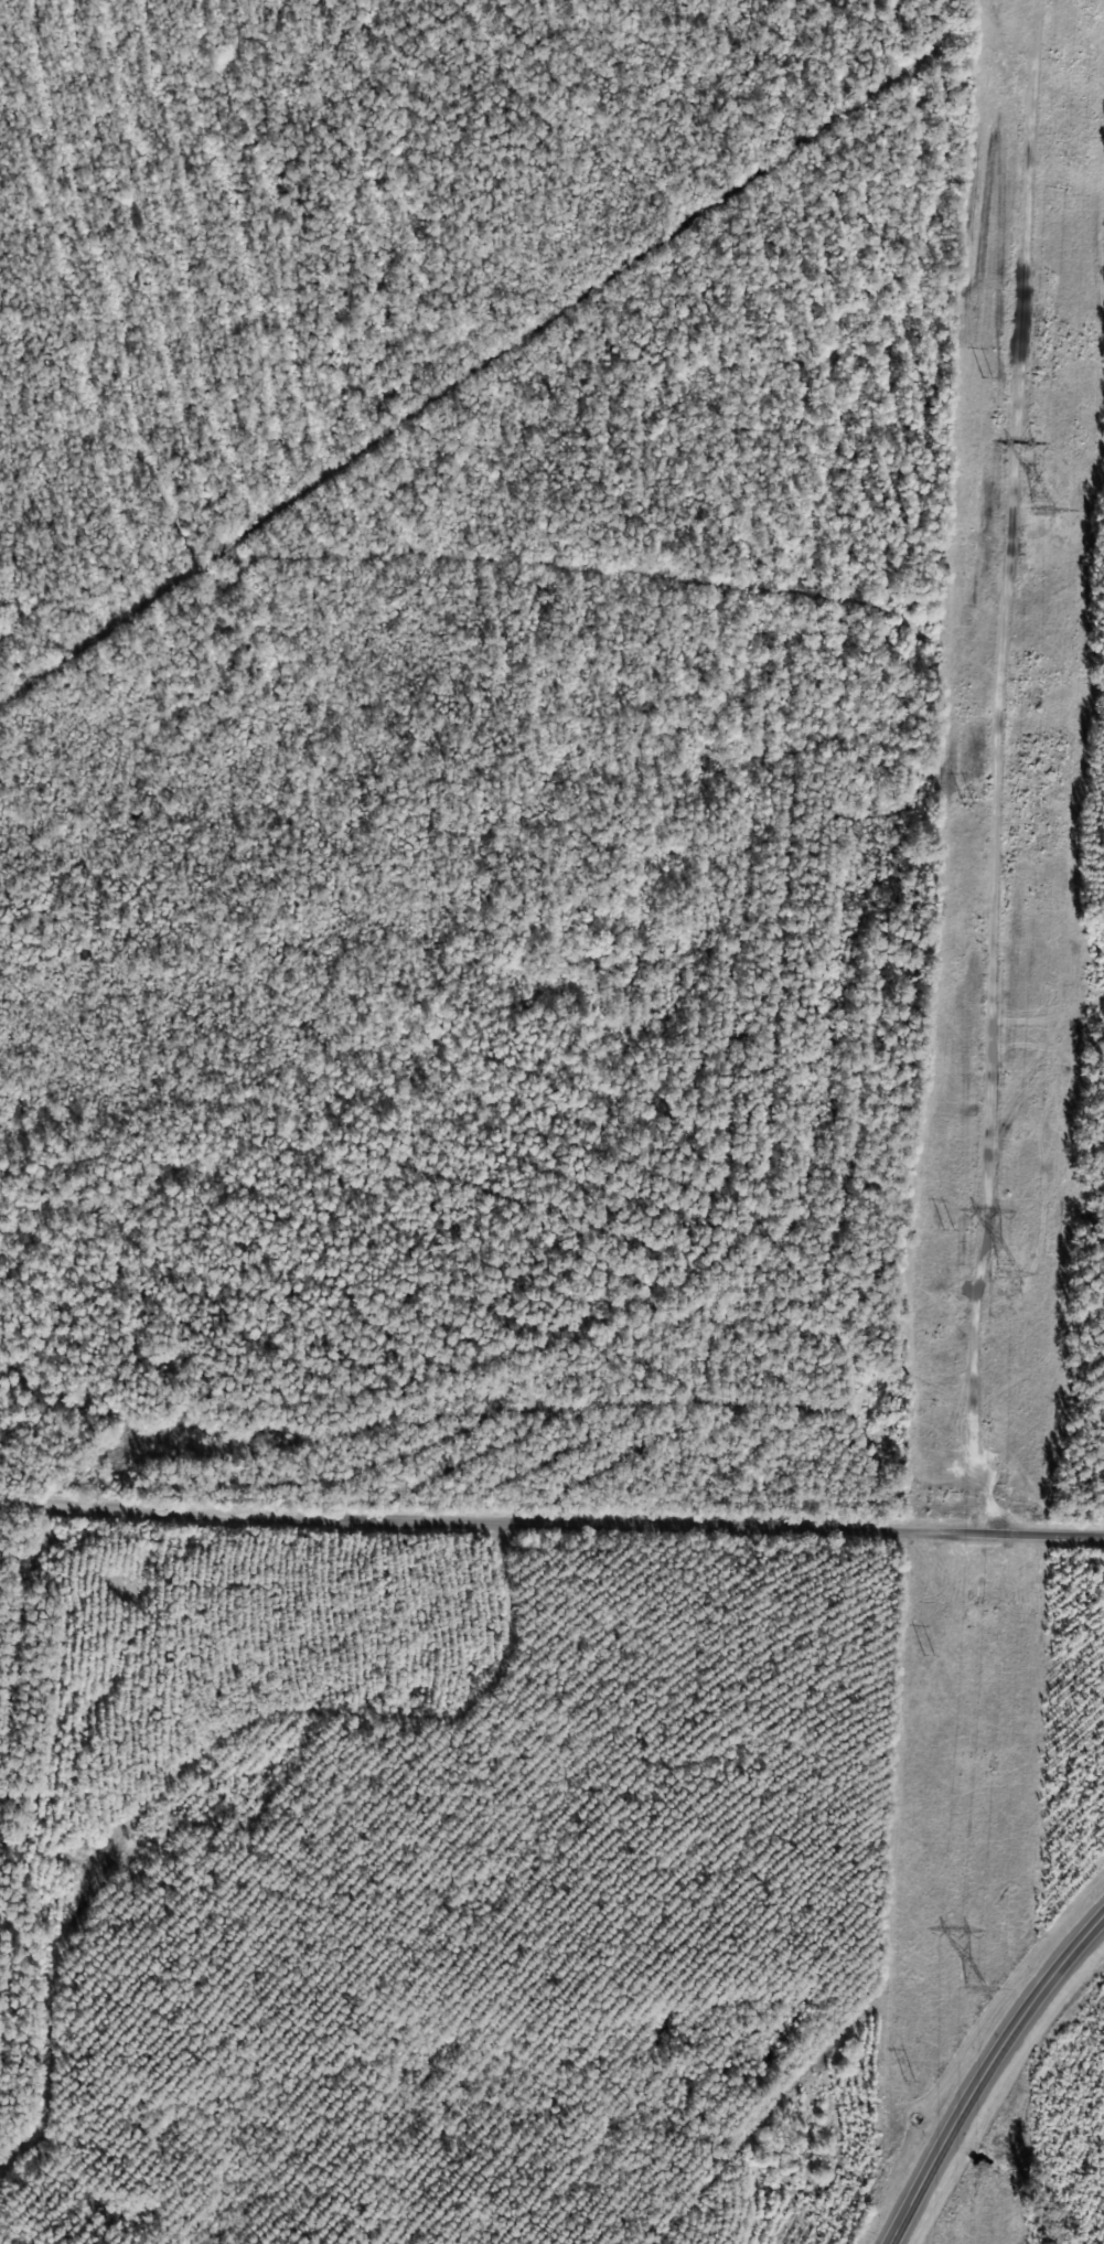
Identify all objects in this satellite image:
power tower: (1038, 509)
power tower: (1005, 1274)
road: (551, 1538)
power tower: (973, 1986)
road: (988, 2065)

